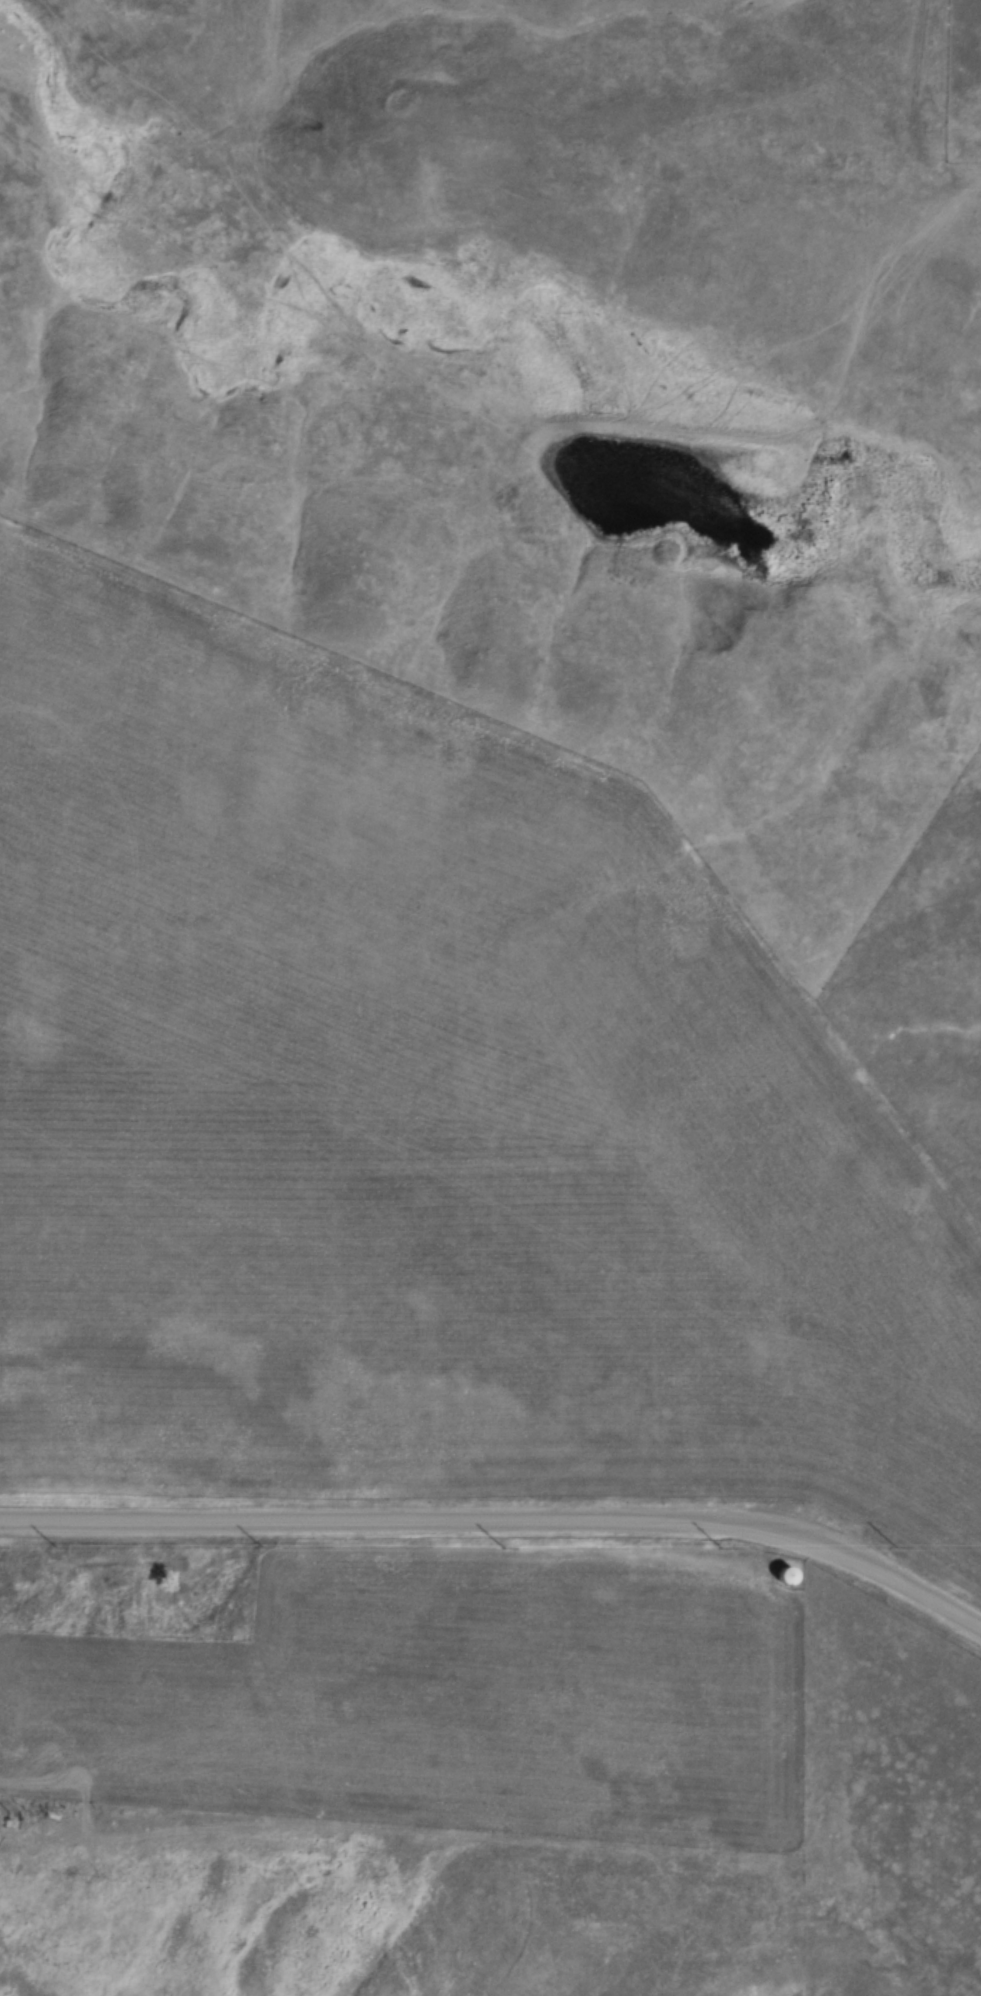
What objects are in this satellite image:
road: (501, 1522)
building: (792, 1575)

